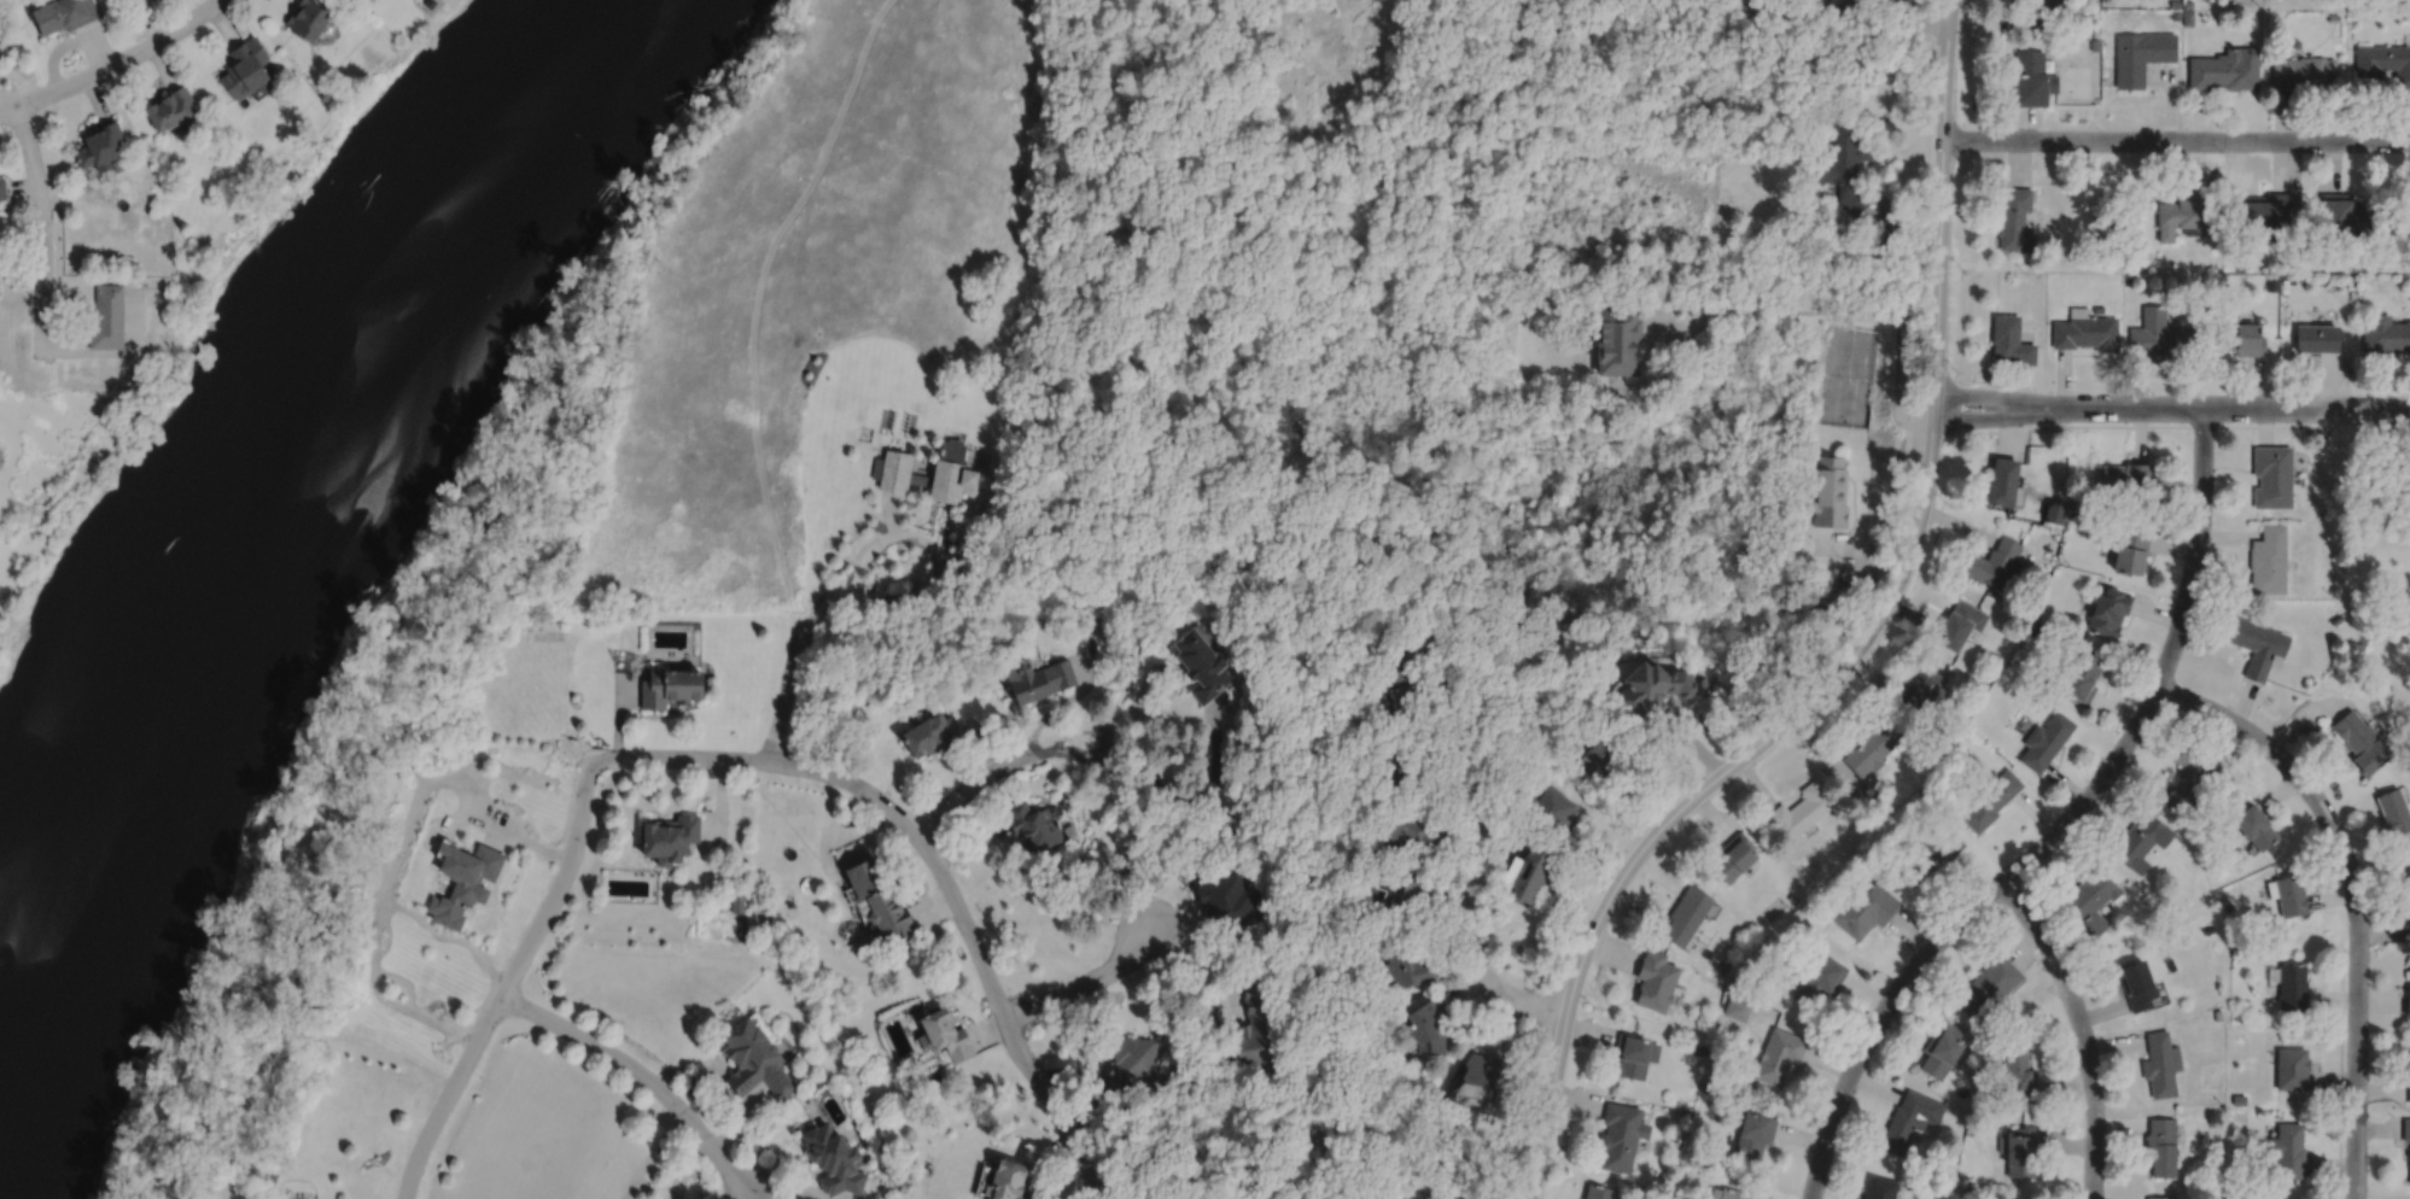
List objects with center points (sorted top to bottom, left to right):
building: (2176, 2)
building: (2189, 4)
building: (64, 13)
building: (2038, 14)
building: (2176, 14)
road: (1926, 16)
building: (2188, 17)
building: (2334, 17)
building: (310, 18)
building: (2297, 42)
building: (2, 45)
building: (2095, 45)
building: (2142, 54)
road: (121, 59)
building: (2385, 63)
building: (245, 65)
building: (2227, 69)
road: (1343, 71)
building: (2303, 71)
building: (2032, 77)
building: (171, 105)
road: (7, 106)
street lamp: (39, 110)
street lamp: (2099, 128)
street lamp: (2347, 128)
road: (2176, 139)
building: (100, 142)
street lamp: (2222, 152)
road: (1865, 156)
street lamp: (1967, 158)
building: (1844, 160)
building: (117, 164)
building: (2, 186)
building: (2268, 207)
building: (2346, 209)
building: (2186, 211)
building: (2015, 218)
road: (41, 228)
building: (1896, 242)
building: (2141, 259)
building: (2240, 265)
street lamp: (1962, 268)
building: (2243, 275)
building: (2128, 279)
building: (2286, 279)
building: (2293, 279)
road: (1838, 304)
building: (2316, 306)
building: (2099, 308)
building: (107, 316)
building: (2085, 329)
building: (2161, 333)
building: (2386, 333)
building: (2241, 335)
building: (2318, 335)
building: (1617, 339)
building: (2009, 339)
park: (1849, 375)
street lamp: (2356, 387)
road: (1988, 393)
road: (2224, 407)
road: (1986, 417)
road: (2155, 425)
street lamp: (1966, 429)
street lamp: (2067, 429)
street lamp: (2190, 429)
building: (952, 469)
building: (2124, 474)
building: (2274, 474)
building: (2002, 480)
building: (1830, 492)
river: (255, 493)
street lamp: (1950, 507)
road: (1886, 509)
building: (2054, 511)
park: (2375, 542)
building: (2130, 549)
road: (936, 551)
building: (1744, 555)
building: (2270, 560)
building: (1995, 562)
street lamp: (2199, 596)
building: (2037, 609)
building: (2108, 610)
building: (2338, 618)
building: (1960, 624)
street lamp: (1897, 636)
building: (2259, 645)
road: (1856, 648)
road: (794, 662)
building: (1204, 666)
building: (2082, 675)
building: (1038, 679)
road: (1174, 680)
building: (1703, 680)
building: (1401, 682)
building: (671, 688)
building: (1653, 688)
building: (1979, 689)
building: (1924, 692)
road: (1069, 698)
road: (618, 713)
building: (933, 736)
road: (1690, 739)
building: (2046, 741)
building: (2364, 742)
road: (982, 743)
road: (1058, 749)
street lamp: (1788, 749)
building: (1935, 749)
building: (1871, 750)
street lamp: (2258, 755)
building: (1601, 756)
road: (764, 760)
building: (1400, 773)
building: (2221, 777)
street lamp: (2117, 778)
building: (2188, 779)
road: (1202, 795)
building: (1990, 801)
road: (720, 803)
building: (1551, 811)
building: (1802, 811)
building: (2396, 812)
building: (2256, 826)
building: (1033, 827)
road: (2060, 827)
building: (1418, 837)
building: (670, 838)
building: (2202, 838)
road: (529, 842)
building: (2141, 842)
road: (970, 844)
road: (1475, 846)
building: (1928, 852)
street lamp: (1671, 855)
building: (1734, 858)
building: (1525, 875)
building: (463, 881)
building: (2408, 884)
road: (2356, 894)
building: (1408, 895)
building: (2289, 895)
building: (876, 896)
building: (1793, 897)
building: (737, 901)
building: (1227, 901)
building: (2091, 902)
road: (932, 906)
building: (2228, 906)
building: (1866, 910)
building: (1686, 916)
building: (2208, 929)
building: (1516, 951)
street lamp: (2346, 951)
building: (1408, 964)
building: (1723, 966)
road: (1195, 969)
building: (1820, 977)
building: (1734, 978)
building: (1655, 979)
road: (507, 982)
road: (1085, 983)
building: (2137, 984)
building: (2293, 984)
building: (1986, 987)
street lamp: (2059, 995)
building: (2409, 999)
building: (1738, 1006)
building: (2218, 1013)
road: (1004, 1017)
building: (1429, 1023)
road: (1504, 1024)
road: (990, 1028)
road: (2081, 1029)
building: (946, 1030)
building: (1259, 1030)
building: (1982, 1034)
building: (1941, 1047)
building: (1699, 1048)
building: (1634, 1052)
building: (1779, 1053)
building: (754, 1057)
road: (714, 1061)
building: (1132, 1063)
building: (2160, 1063)
building: (2292, 1065)
building: (1480, 1066)
road: (2340, 1072)
road: (641, 1074)
building: (2018, 1075)
road: (1087, 1083)
building: (1704, 1086)
building: (2409, 1089)
road: (717, 1095)
street lamp: (2106, 1107)
street lamp: (2344, 1107)
building: (1910, 1117)
road: (740, 1122)
building: (1971, 1128)
building: (2406, 1128)
building: (1755, 1133)
building: (1621, 1134)
building: (2160, 1144)
building: (130, 1147)
building: (2019, 1148)
building: (2288, 1148)
building: (2409, 1152)
road: (1198, 1153)
building: (836, 1157)
road: (683, 1166)
road: (1046, 1166)
building: (1005, 1178)
building: (2219, 1185)
building: (1881, 1187)
road: (787, 1191)
building: (1599, 1191)
building: (1967, 1191)
building: (1732, 1193)
road: (2077, 1193)
road: (749, 1195)
road: (755, 1195)
building: (2160, 1197)
building: (1230, 1198)

